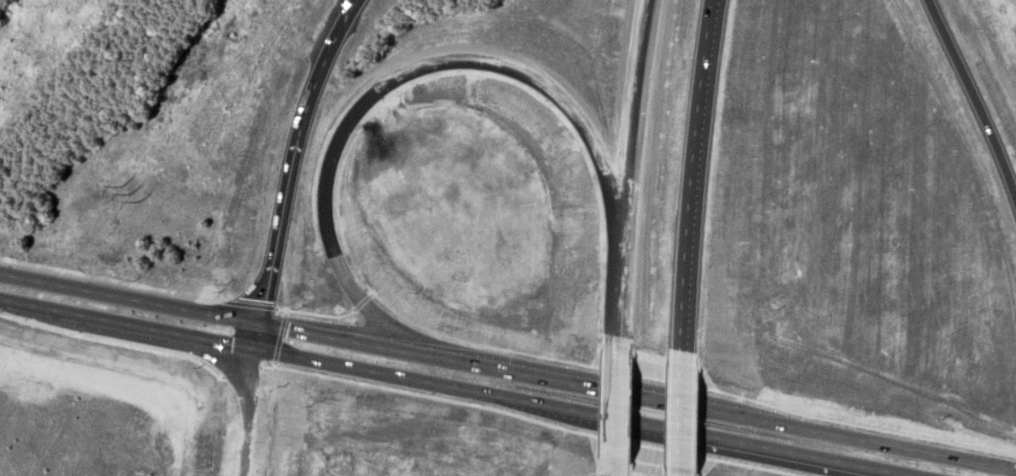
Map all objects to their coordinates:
road: (393, 79)
road: (974, 97)
road: (635, 150)
power tower: (136, 152)
road: (288, 156)
road: (691, 182)
road: (111, 284)
road: (128, 299)
traffic signals: (261, 299)
road: (357, 302)
road: (247, 303)
road: (32, 305)
road: (311, 313)
road: (624, 327)
traffic signals: (282, 329)
road: (158, 330)
road: (254, 336)
traffic signals: (209, 340)
road: (367, 345)
road: (417, 380)
road: (685, 384)
road: (595, 389)
road: (621, 406)
road: (244, 411)
road: (679, 417)
road: (704, 435)
road: (863, 440)
road: (845, 467)
road: (870, 467)
road: (620, 469)
road: (678, 473)

